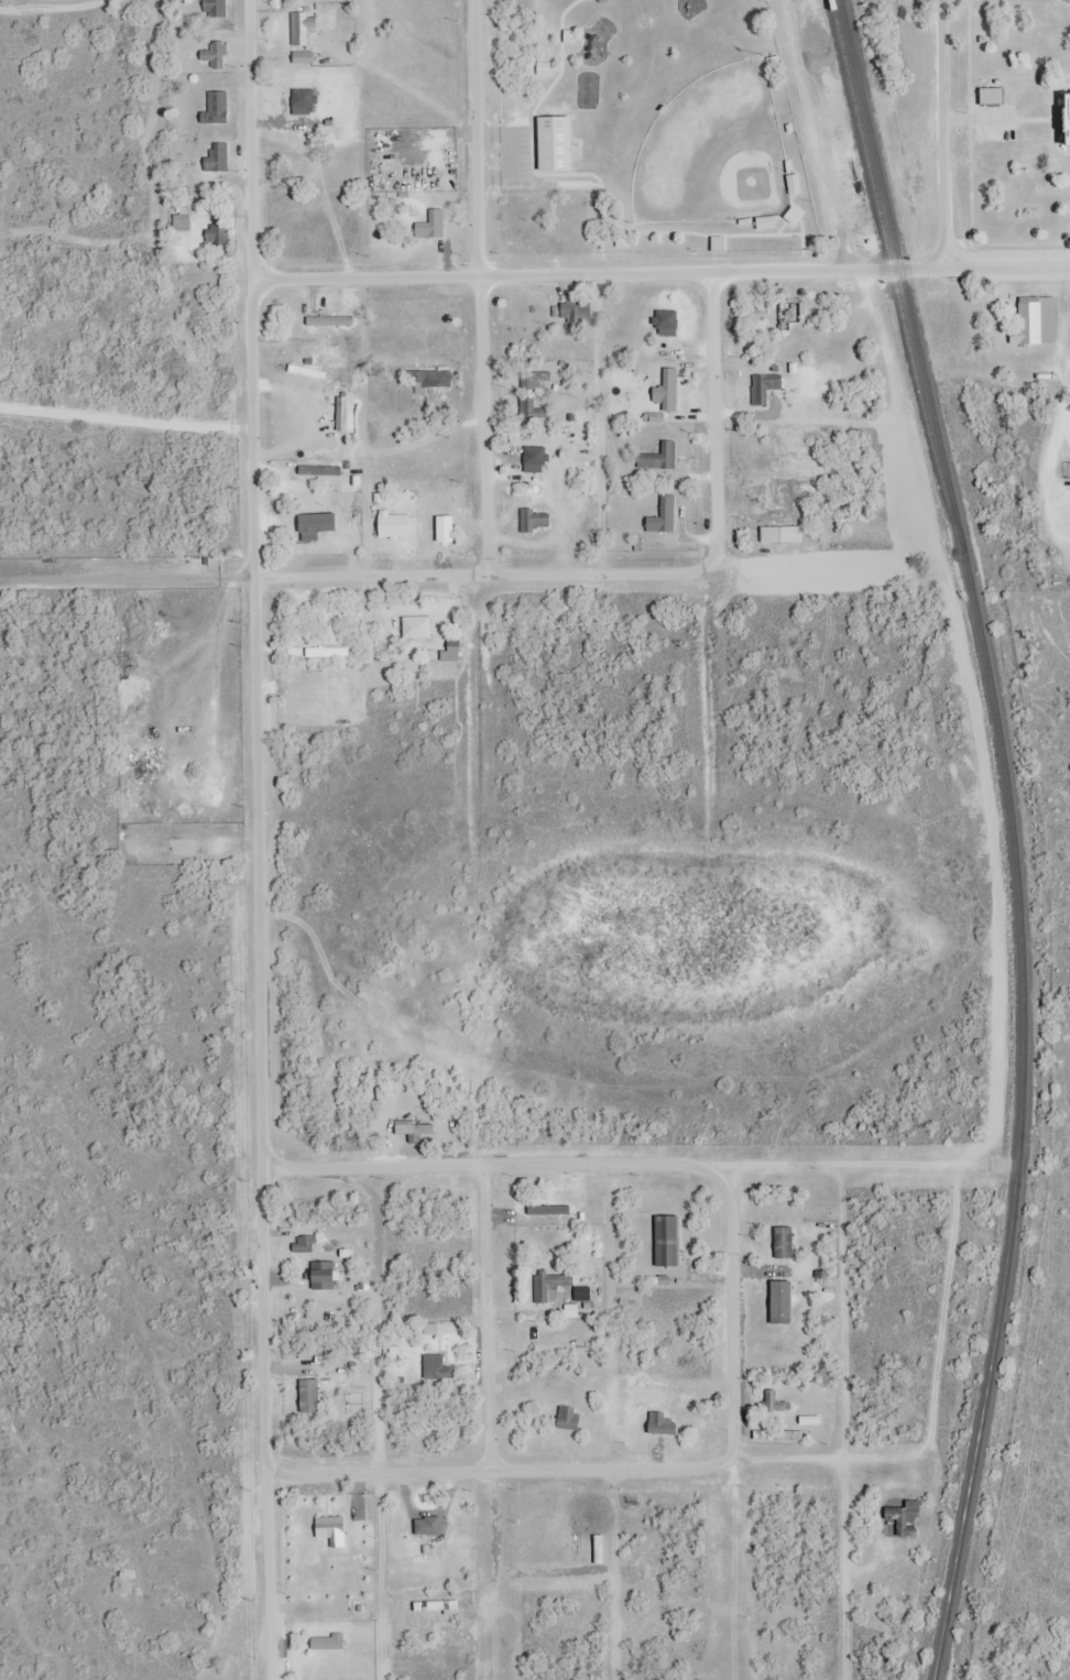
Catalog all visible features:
building: (303, 28)
building: (304, 57)
building: (305, 96)
building: (217, 108)
building: (1068, 120)
road: (951, 134)
building: (548, 143)
building: (303, 150)
building: (218, 156)
building: (183, 220)
building: (432, 226)
building: (218, 228)
road: (662, 272)
road: (481, 286)
railway: (896, 288)
building: (329, 310)
building: (575, 310)
building: (793, 315)
building: (764, 316)
building: (1036, 320)
building: (669, 324)
building: (432, 381)
building: (809, 383)
building: (765, 386)
building: (668, 394)
building: (538, 408)
road: (127, 422)
road: (716, 422)
building: (320, 469)
building: (665, 516)
building: (529, 520)
building: (780, 534)
road: (487, 574)
building: (418, 626)
building: (328, 652)
railway: (1015, 834)
road: (259, 840)
building: (416, 1127)
road: (633, 1167)
building: (324, 1275)
building: (556, 1283)
road: (496, 1318)
building: (438, 1367)
road: (505, 1468)

